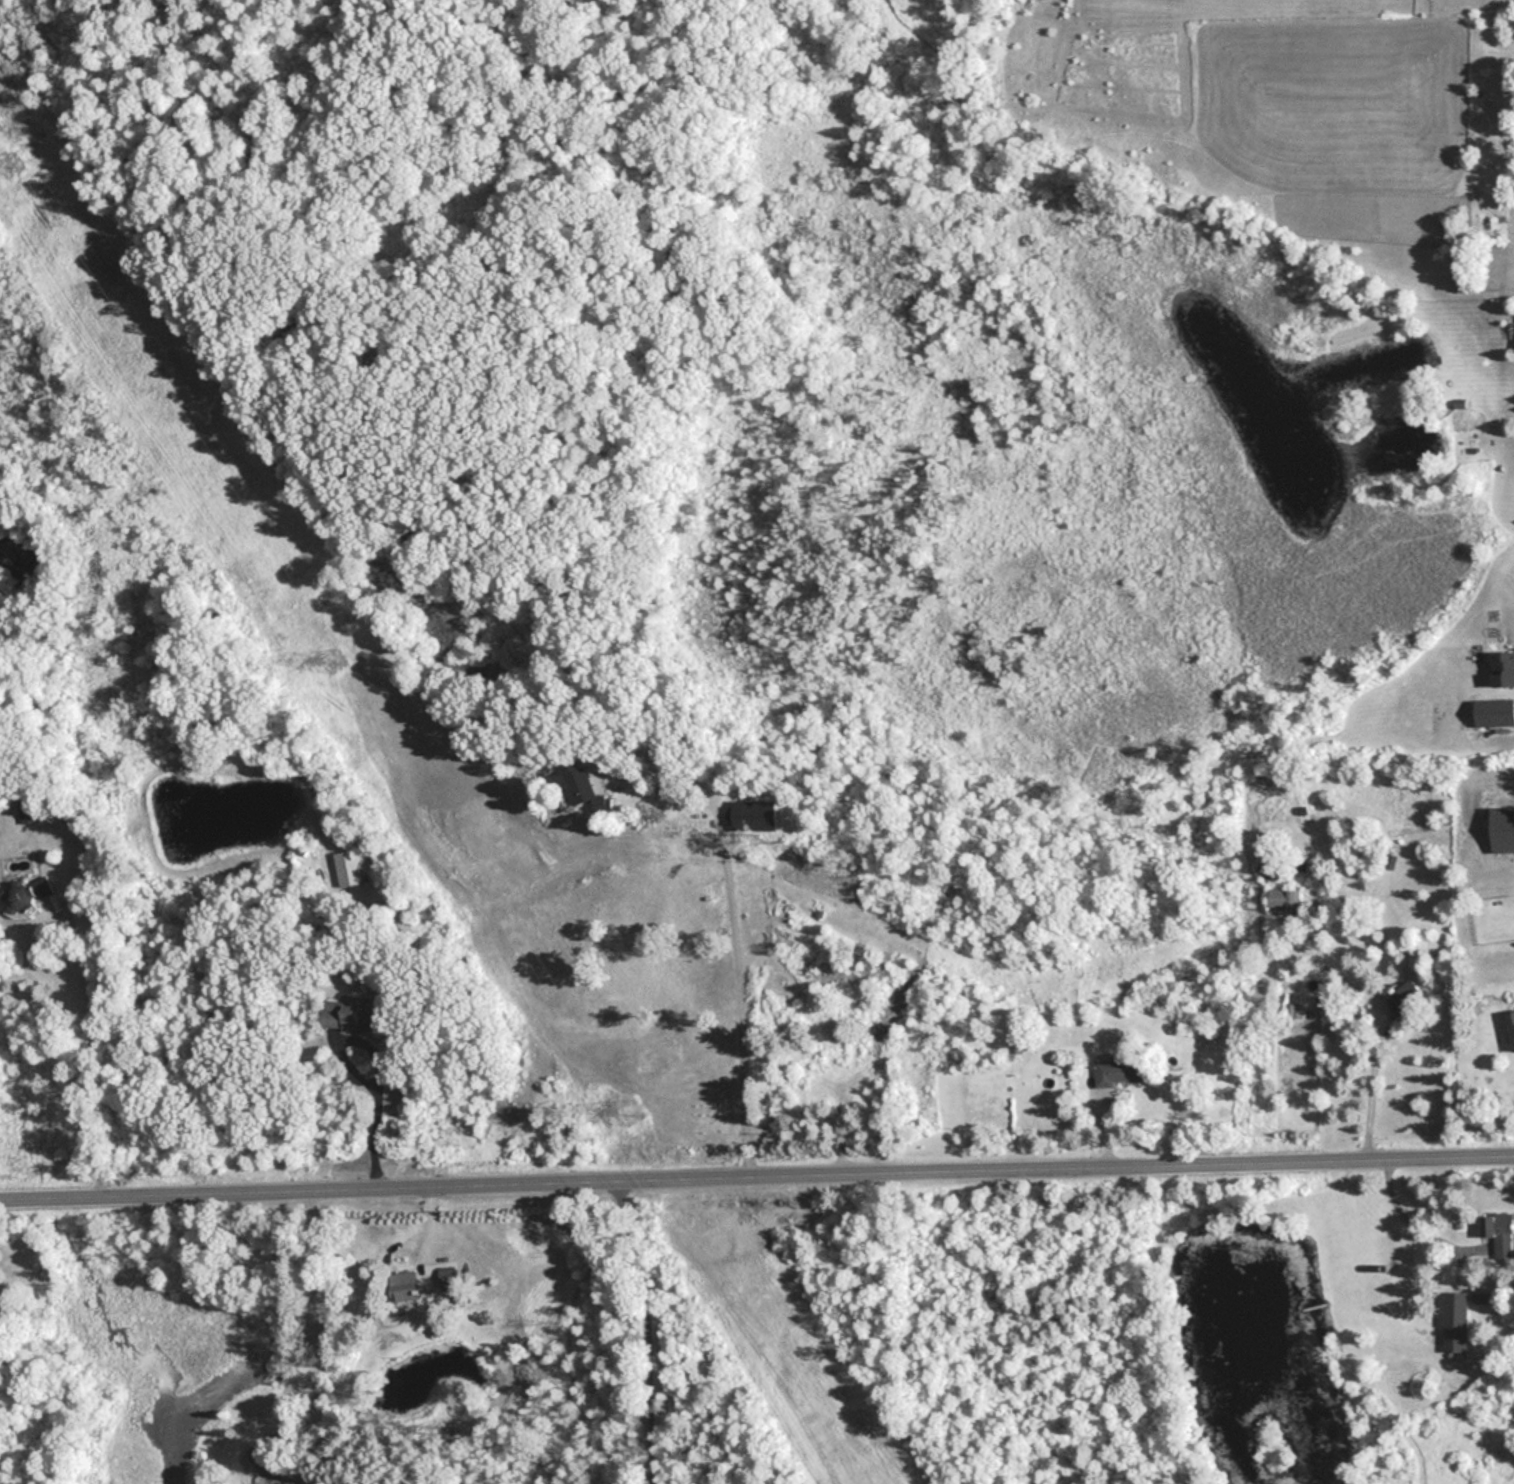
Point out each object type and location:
power tower: (10, 167)
power tower: (332, 660)
building: (1502, 670)
building: (583, 787)
building: (25, 808)
building: (1502, 829)
building: (1269, 867)
building: (346, 868)
building: (26, 894)
building: (1284, 899)
road: (728, 944)
building: (1405, 997)
building: (348, 1016)
building: (1511, 1024)
road: (92, 1050)
building: (1118, 1071)
road: (1370, 1094)
power tower: (631, 1111)
road: (377, 1117)
road: (756, 1173)
road: (1401, 1219)
building: (1499, 1232)
building: (446, 1277)
building: (401, 1285)
road: (313, 1290)
building: (1456, 1309)
road: (646, 1328)
building: (279, 1479)

